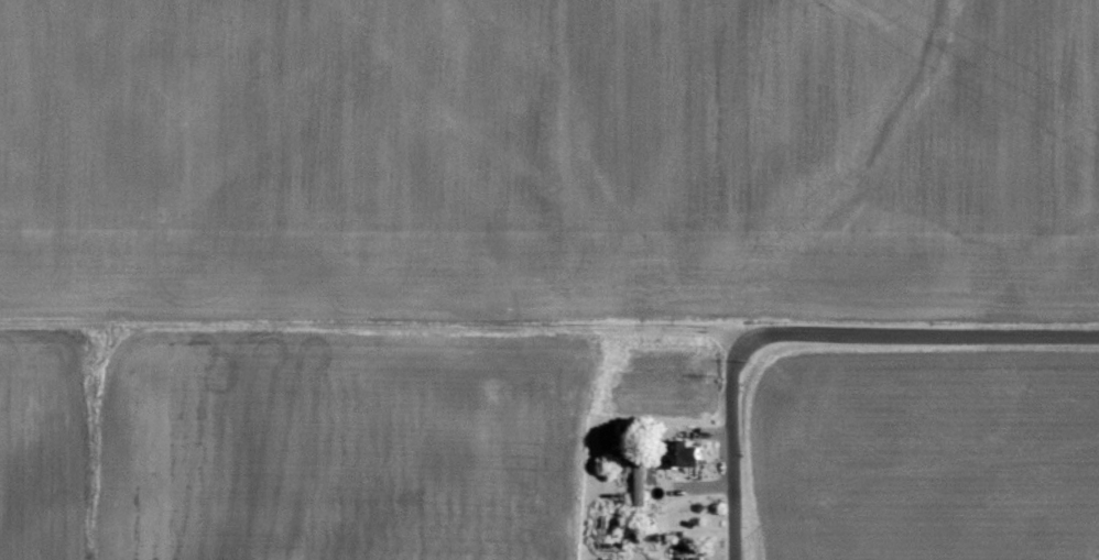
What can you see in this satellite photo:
road: (937, 337)
road: (740, 438)

